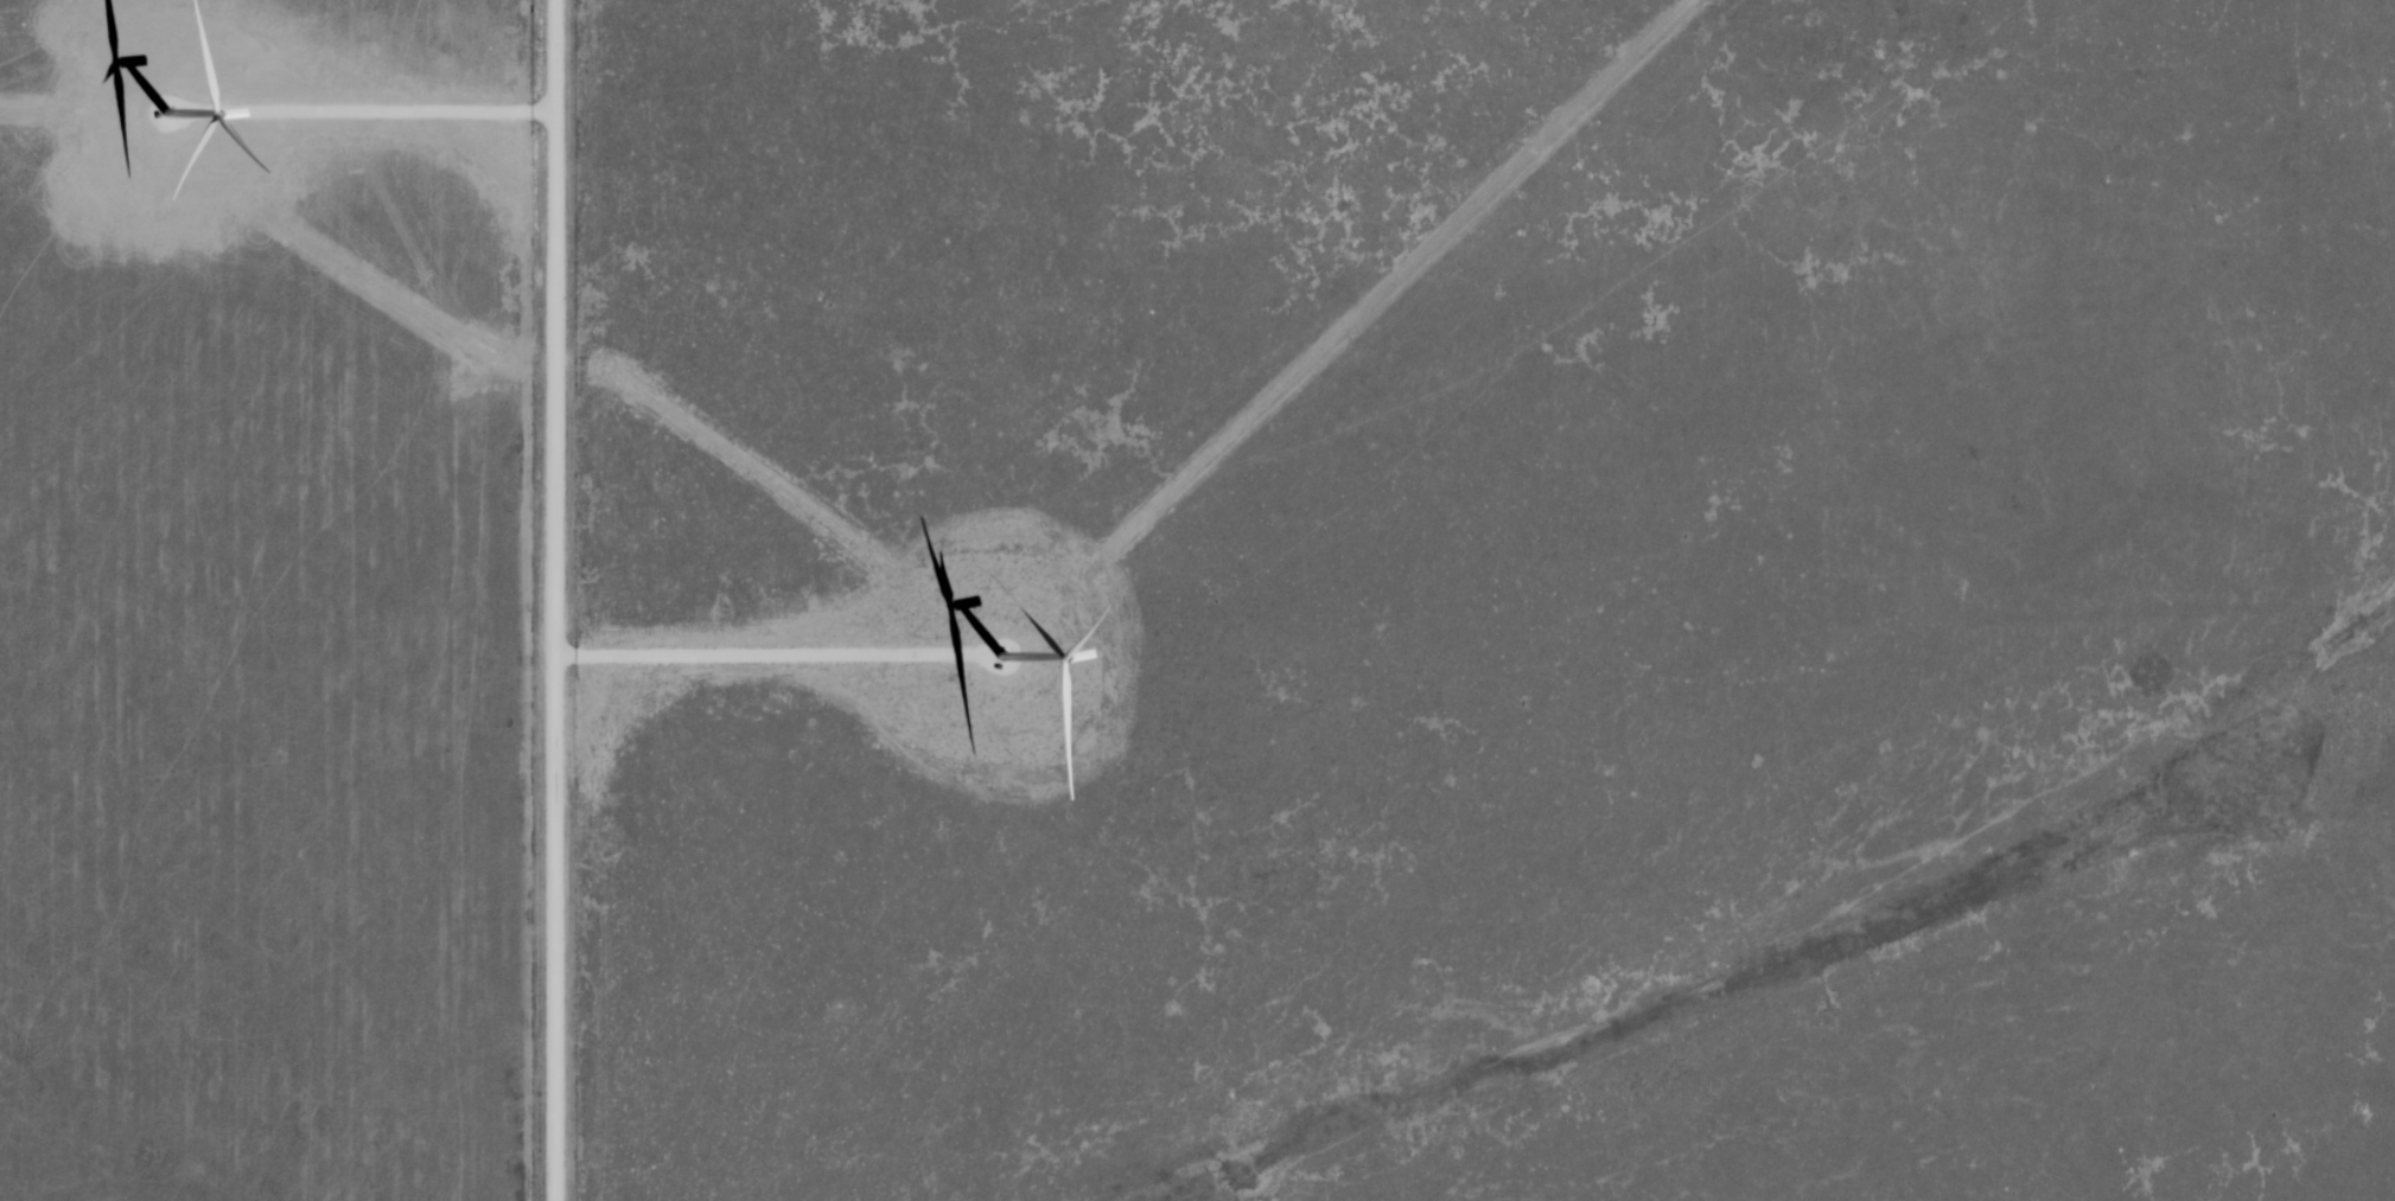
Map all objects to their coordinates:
wind turbine: (167, 111)
road: (375, 114)
road: (554, 600)
wind turbine: (993, 651)
road: (765, 657)

